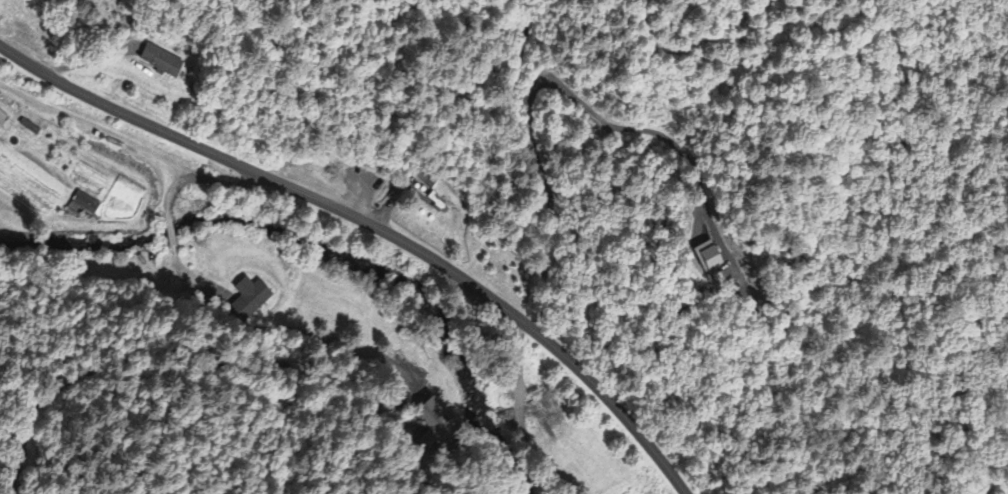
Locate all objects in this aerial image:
road: (449, 18)
building: (163, 63)
building: (3, 122)
road: (531, 160)
road: (222, 183)
road: (169, 193)
building: (86, 206)
road: (373, 226)
road: (169, 229)
building: (713, 257)
building: (250, 301)
road: (243, 376)

